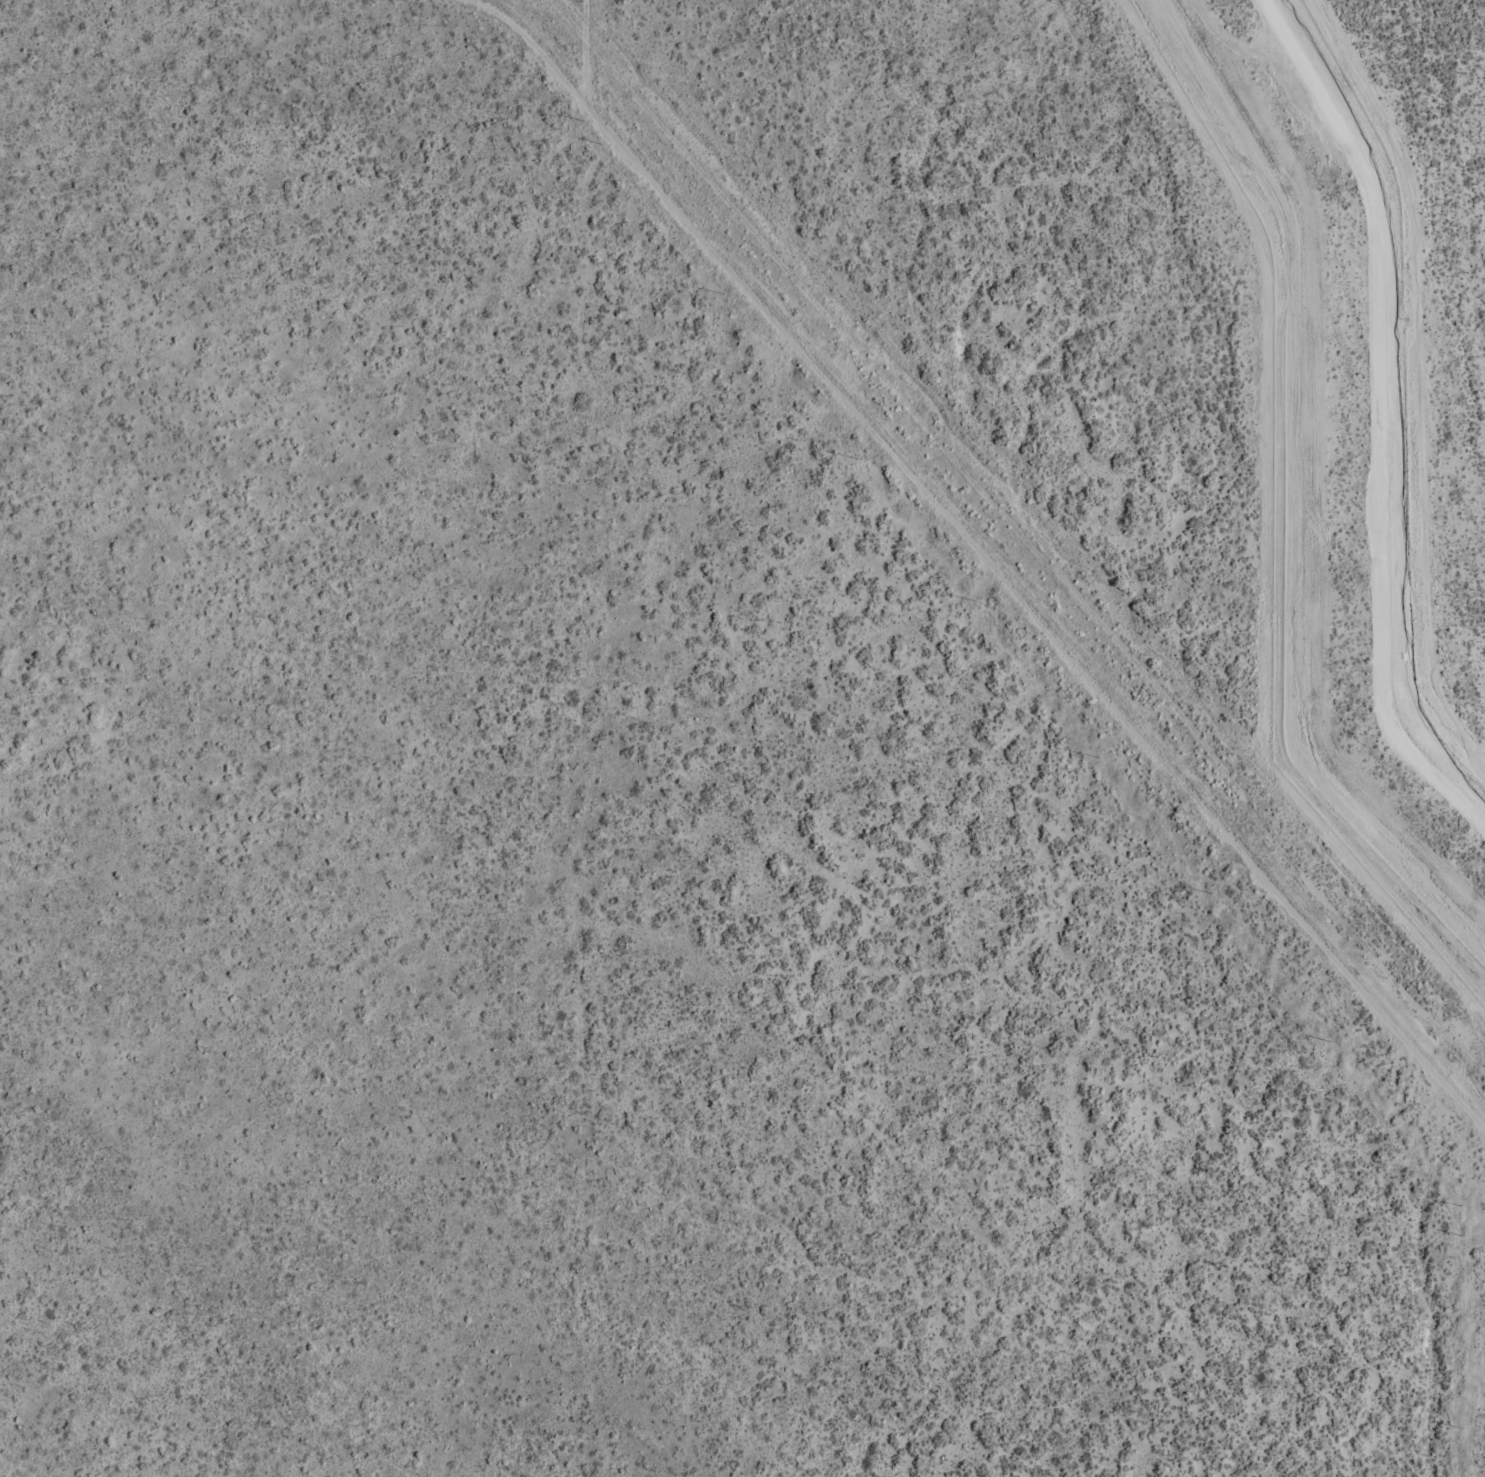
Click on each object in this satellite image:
road: (1374, 427)

